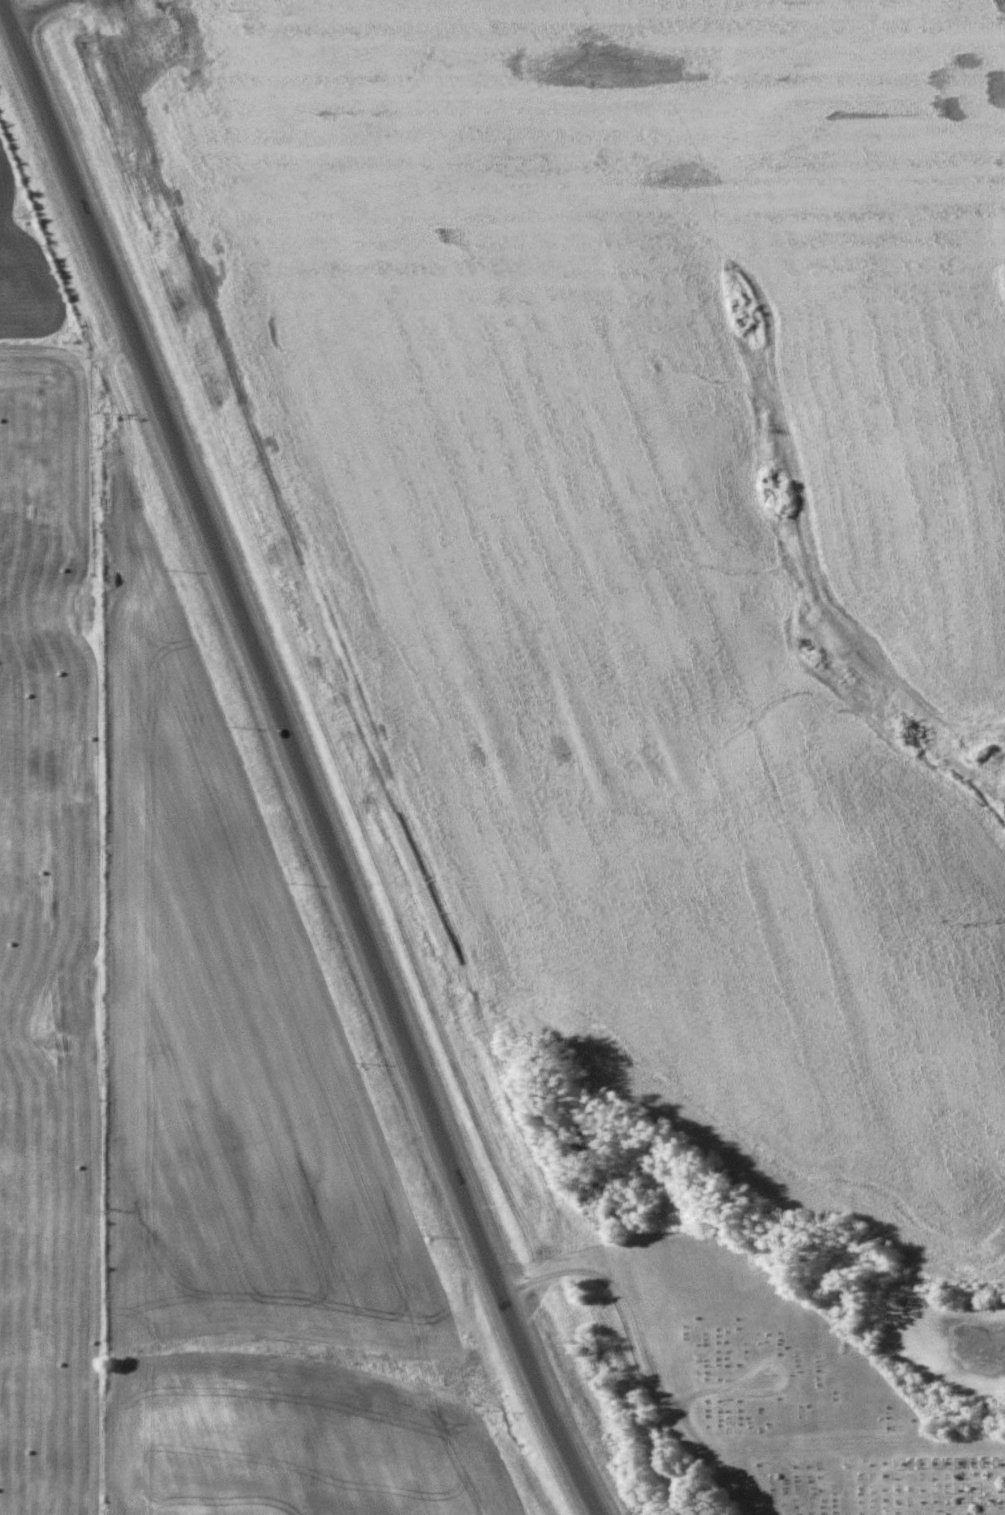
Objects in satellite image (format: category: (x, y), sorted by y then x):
road: (34, 13)
road: (295, 759)
road: (645, 1352)
park: (772, 1383)
road: (768, 1392)

